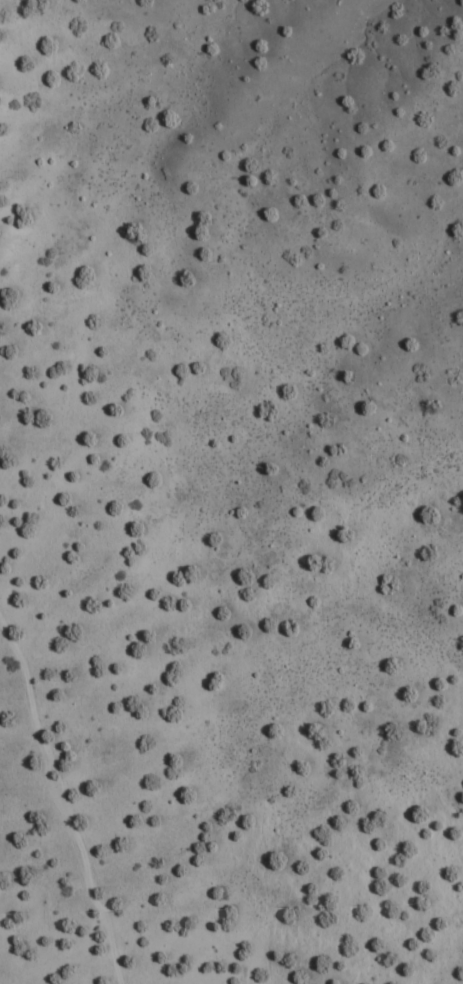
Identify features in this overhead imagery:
road: (59, 829)

